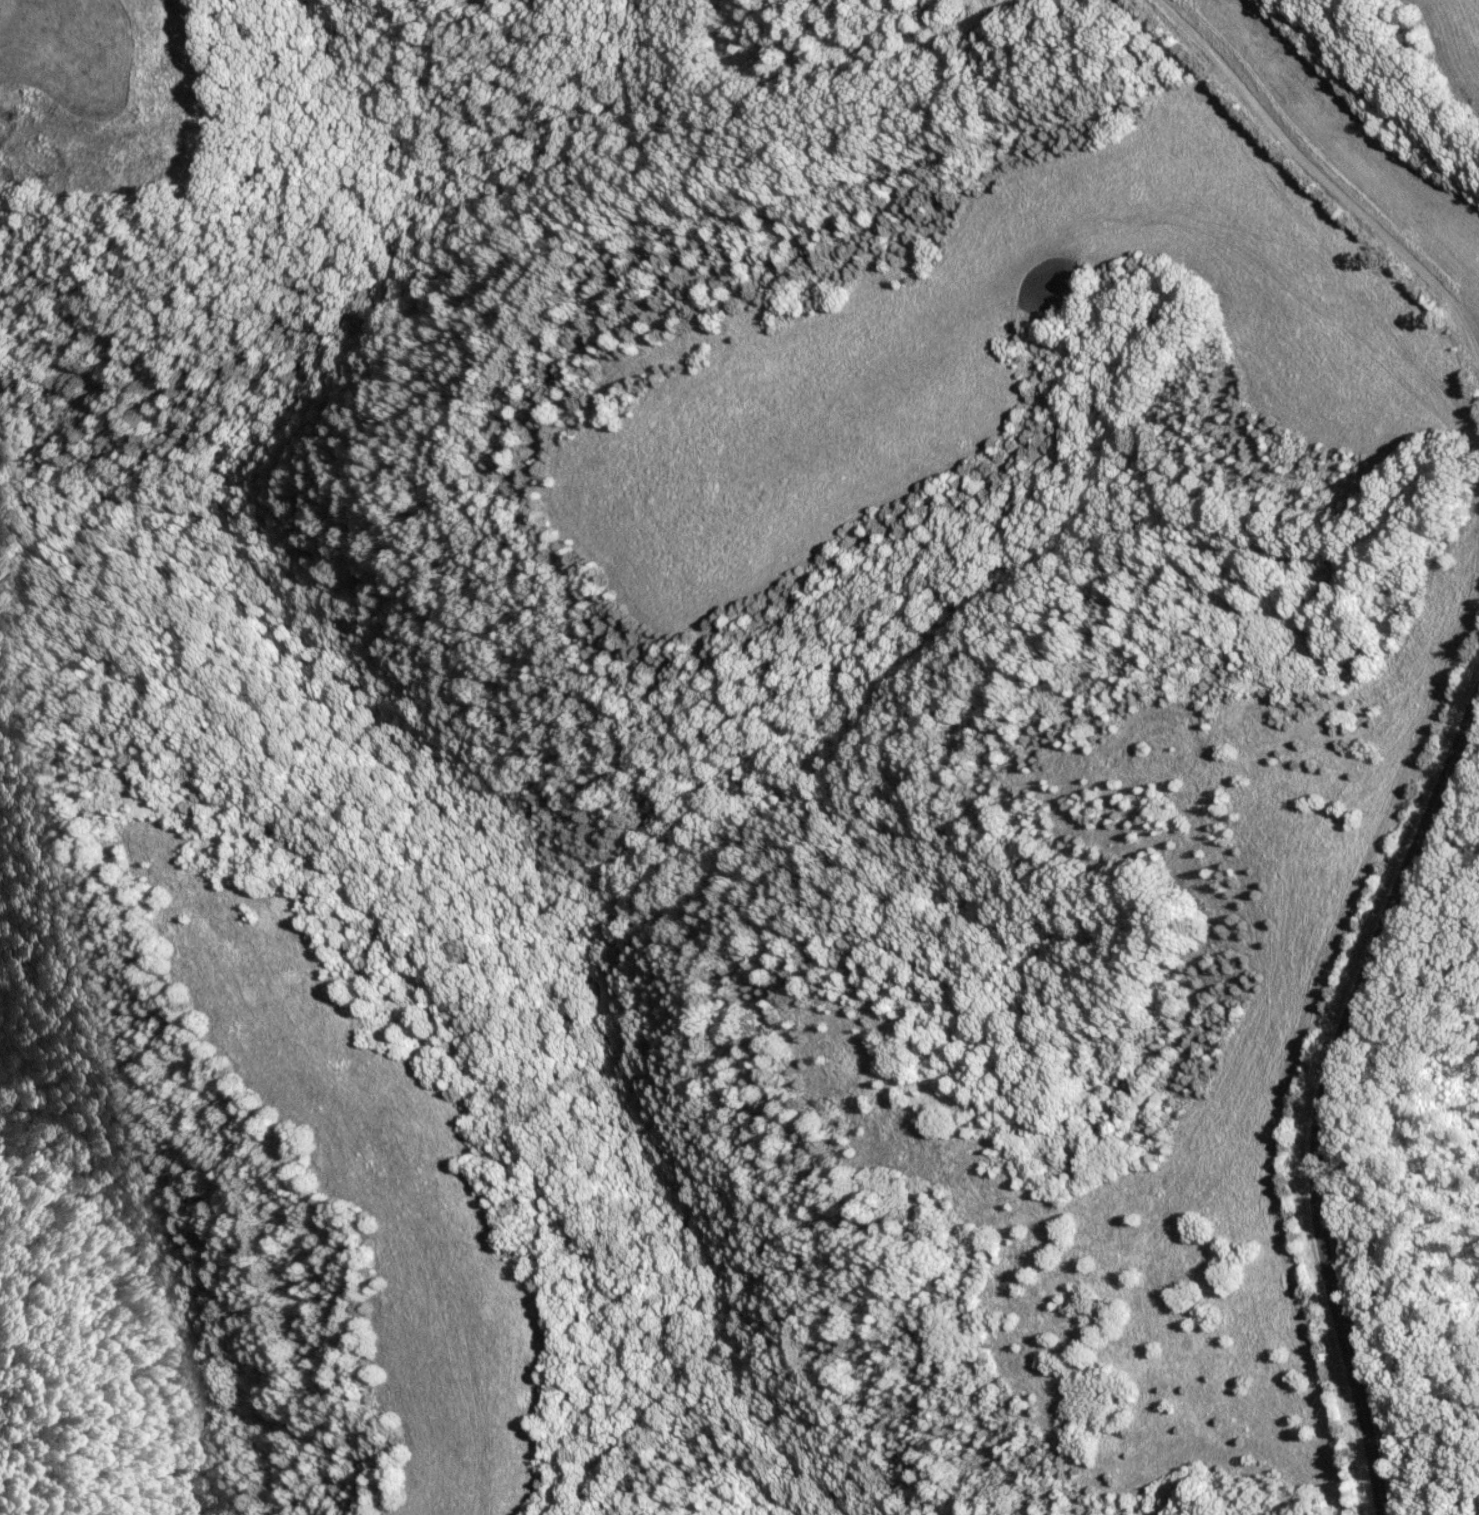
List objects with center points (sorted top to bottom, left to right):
road: (1326, 1094)

